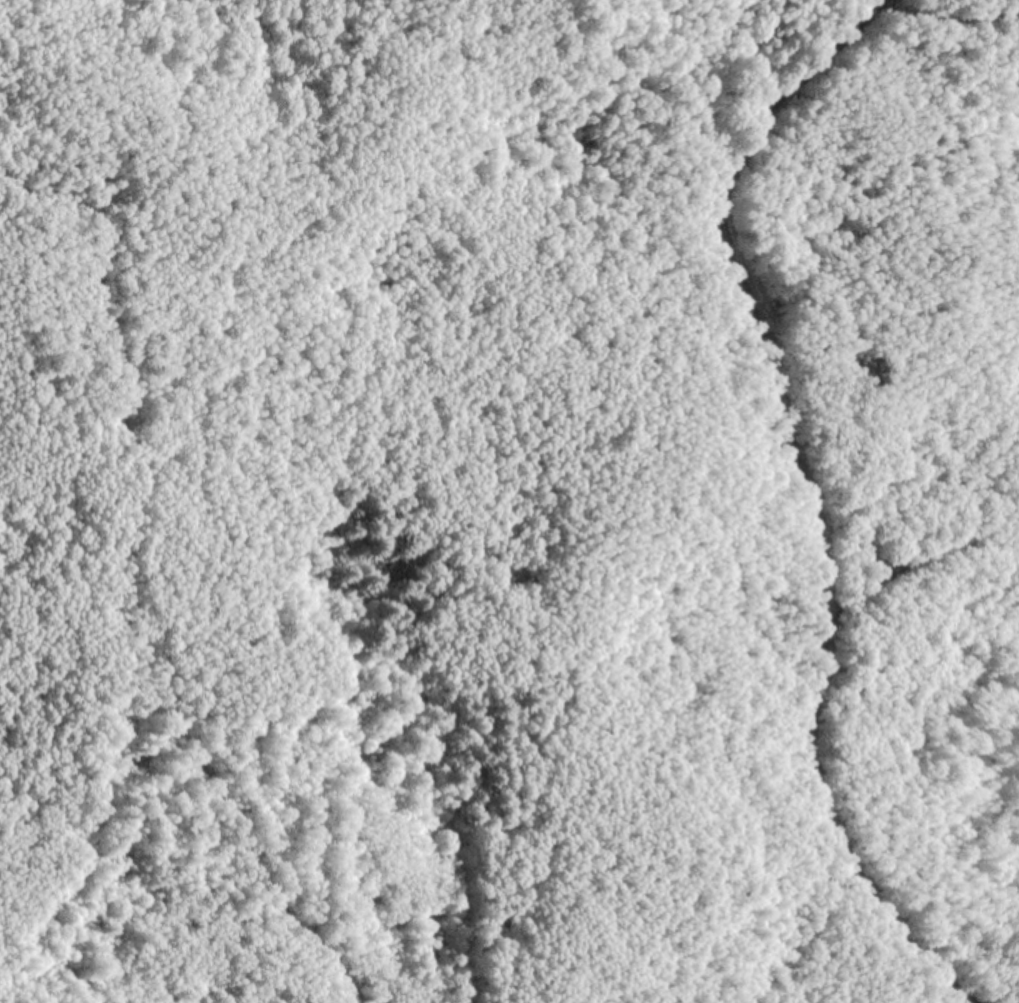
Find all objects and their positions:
road: (800, 503)
quarry: (463, 541)
road: (915, 559)

